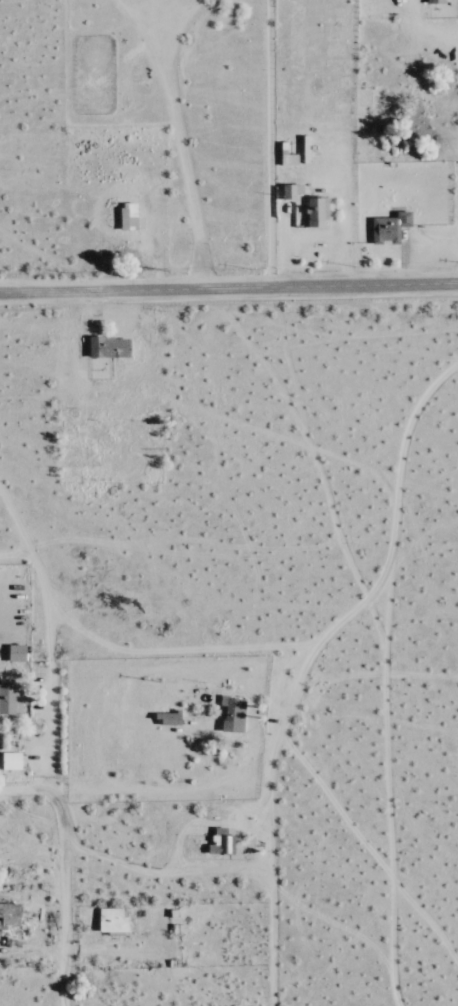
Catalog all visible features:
building: (436, 1)
road: (272, 144)
road: (191, 154)
building: (304, 207)
building: (128, 217)
building: (390, 227)
road: (209, 266)
road: (228, 288)
building: (109, 348)
road: (396, 516)
road: (105, 653)
building: (16, 654)
building: (11, 701)
building: (235, 716)
building: (167, 720)
building: (11, 762)
road: (23, 791)
road: (274, 822)
road: (62, 828)
building: (221, 843)
building: (10, 915)
building: (113, 921)

